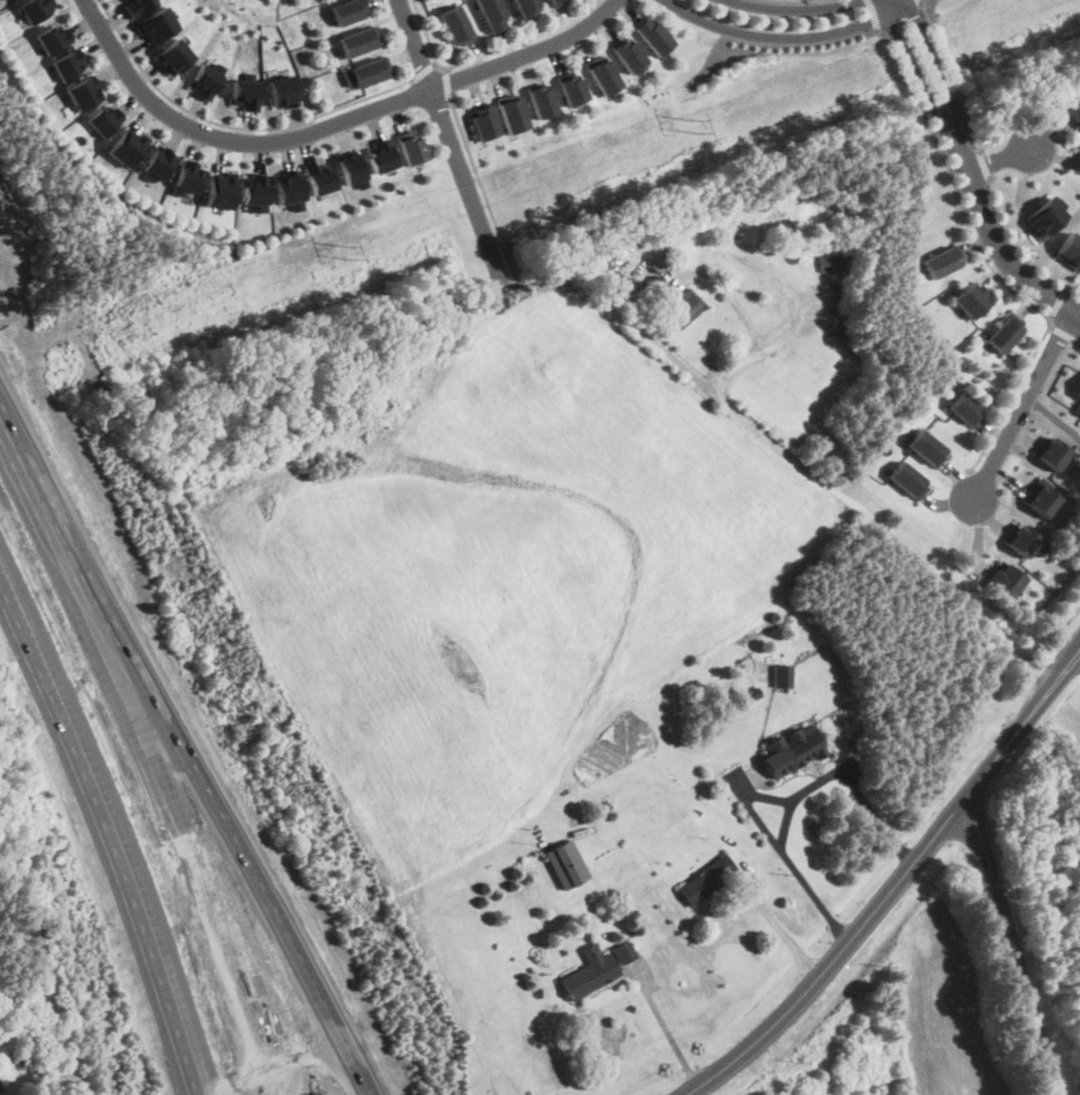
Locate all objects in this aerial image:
building: (3, 0)
road: (890, 0)
road: (921, 1)
building: (317, 3)
building: (138, 5)
building: (560, 7)
building: (33, 9)
building: (346, 13)
building: (525, 14)
road: (873, 15)
building: (156, 24)
building: (492, 24)
road: (788, 26)
building: (51, 36)
building: (456, 39)
building: (354, 45)
building: (658, 48)
road: (488, 53)
road: (533, 55)
building: (173, 56)
building: (67, 62)
building: (631, 67)
road: (425, 72)
building: (363, 75)
building: (206, 78)
road: (952, 78)
road: (449, 84)
building: (604, 86)
building: (83, 91)
building: (283, 91)
building: (207, 94)
building: (573, 99)
building: (286, 106)
building: (250, 107)
building: (1073, 112)
building: (545, 114)
building: (104, 118)
road: (232, 124)
power tower: (692, 124)
building: (517, 128)
building: (487, 136)
road: (229, 140)
road: (451, 141)
building: (411, 145)
building: (126, 146)
building: (381, 155)
building: (156, 163)
road: (999, 163)
building: (1078, 163)
road: (985, 166)
building: (352, 168)
road: (964, 170)
building: (319, 176)
building: (187, 177)
building: (289, 189)
building: (219, 190)
road: (483, 190)
building: (254, 192)
building: (1044, 217)
road: (1020, 249)
building: (1069, 250)
power tower: (347, 251)
building: (942, 260)
building: (830, 262)
road: (987, 262)
building: (970, 298)
road: (1058, 302)
road: (1077, 306)
building: (684, 308)
road: (1077, 311)
road: (1077, 314)
road: (785, 330)
building: (1004, 332)
road: (1061, 333)
road: (1077, 342)
building: (1077, 401)
road: (1022, 404)
building: (965, 408)
building: (926, 445)
building: (1051, 452)
building: (907, 478)
building: (1041, 496)
road: (853, 501)
building: (1021, 538)
building: (1006, 579)
road: (1059, 633)
road: (1070, 665)
building: (781, 675)
building: (792, 749)
road: (186, 760)
road: (798, 795)
road: (114, 828)
building: (567, 862)
building: (708, 880)
road: (888, 896)
road: (785, 933)
road: (1012, 944)
building: (596, 968)
road: (667, 1031)
building: (1, 1092)

